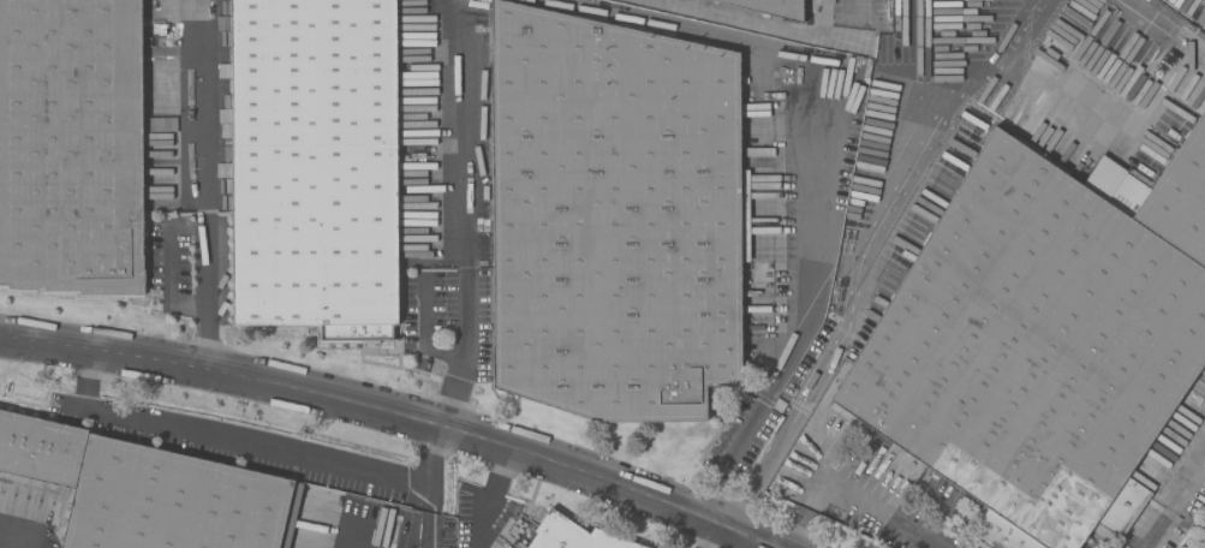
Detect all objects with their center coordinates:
building: (766, 10)
road: (1162, 29)
road: (786, 89)
building: (73, 145)
building: (318, 166)
road: (203, 184)
road: (460, 212)
building: (618, 216)
road: (864, 250)
building: (1044, 341)
road: (760, 406)
road: (400, 411)
road: (262, 443)
building: (149, 492)
road: (857, 492)
road: (488, 494)
road: (430, 498)
road: (1176, 504)
road: (345, 525)
road: (426, 528)
road: (705, 532)
building: (573, 536)
road: (424, 546)
road: (776, 547)

